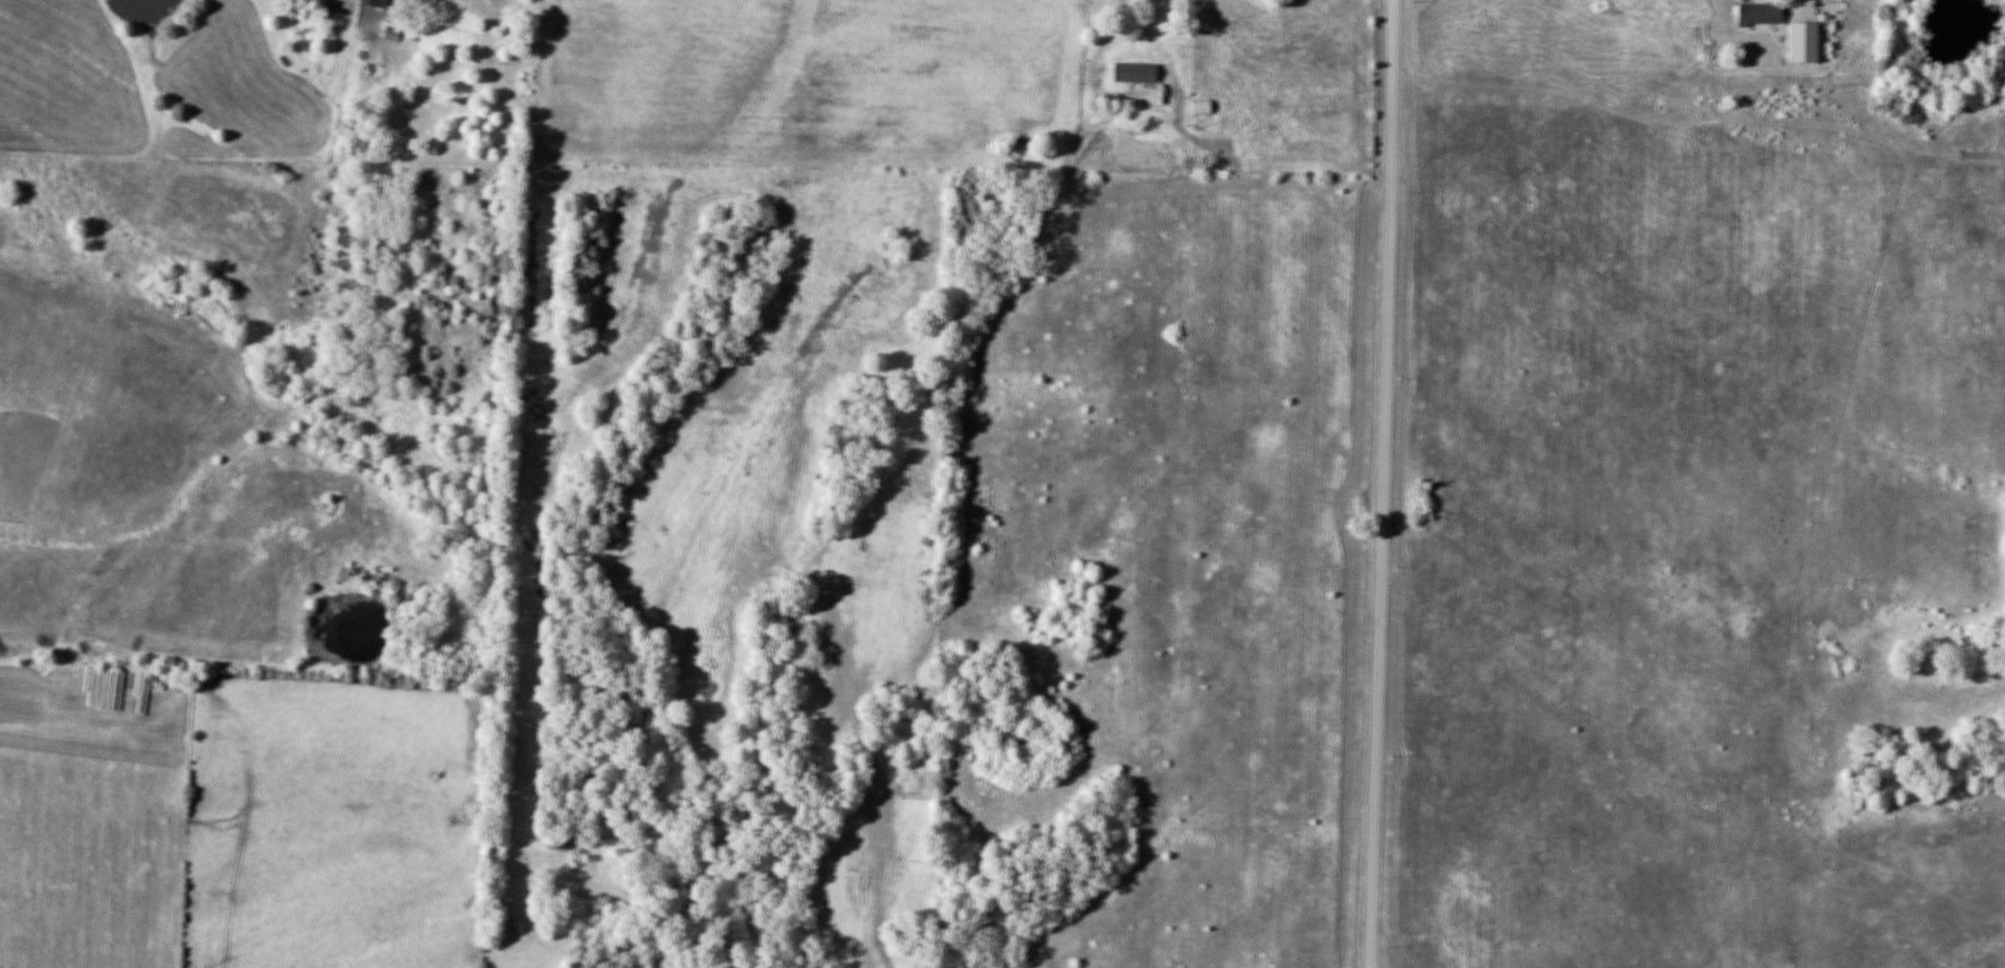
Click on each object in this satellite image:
building: (377, 3)
building: (1762, 14)
building: (1136, 73)
building: (1202, 108)
road: (1383, 484)

